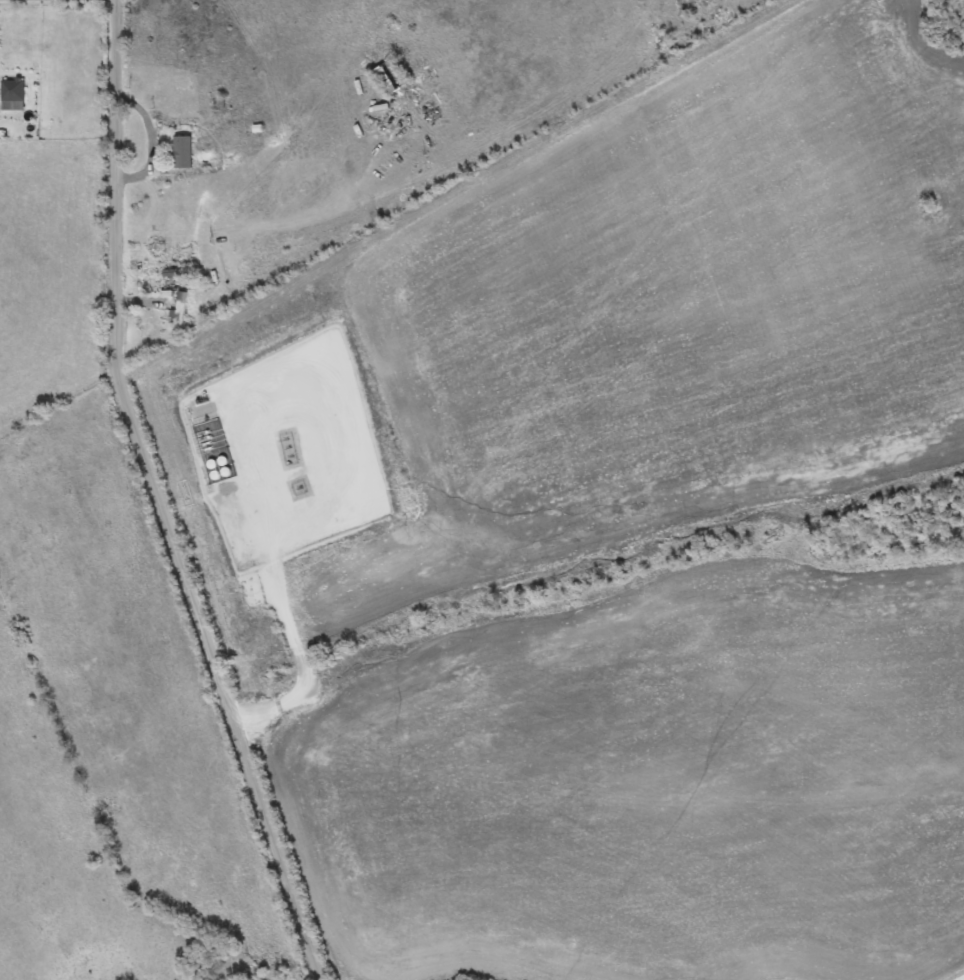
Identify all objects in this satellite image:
building: (386, 80)
building: (13, 89)
building: (183, 152)
building: (181, 307)
road: (164, 500)
road: (281, 605)
road: (963, 979)

